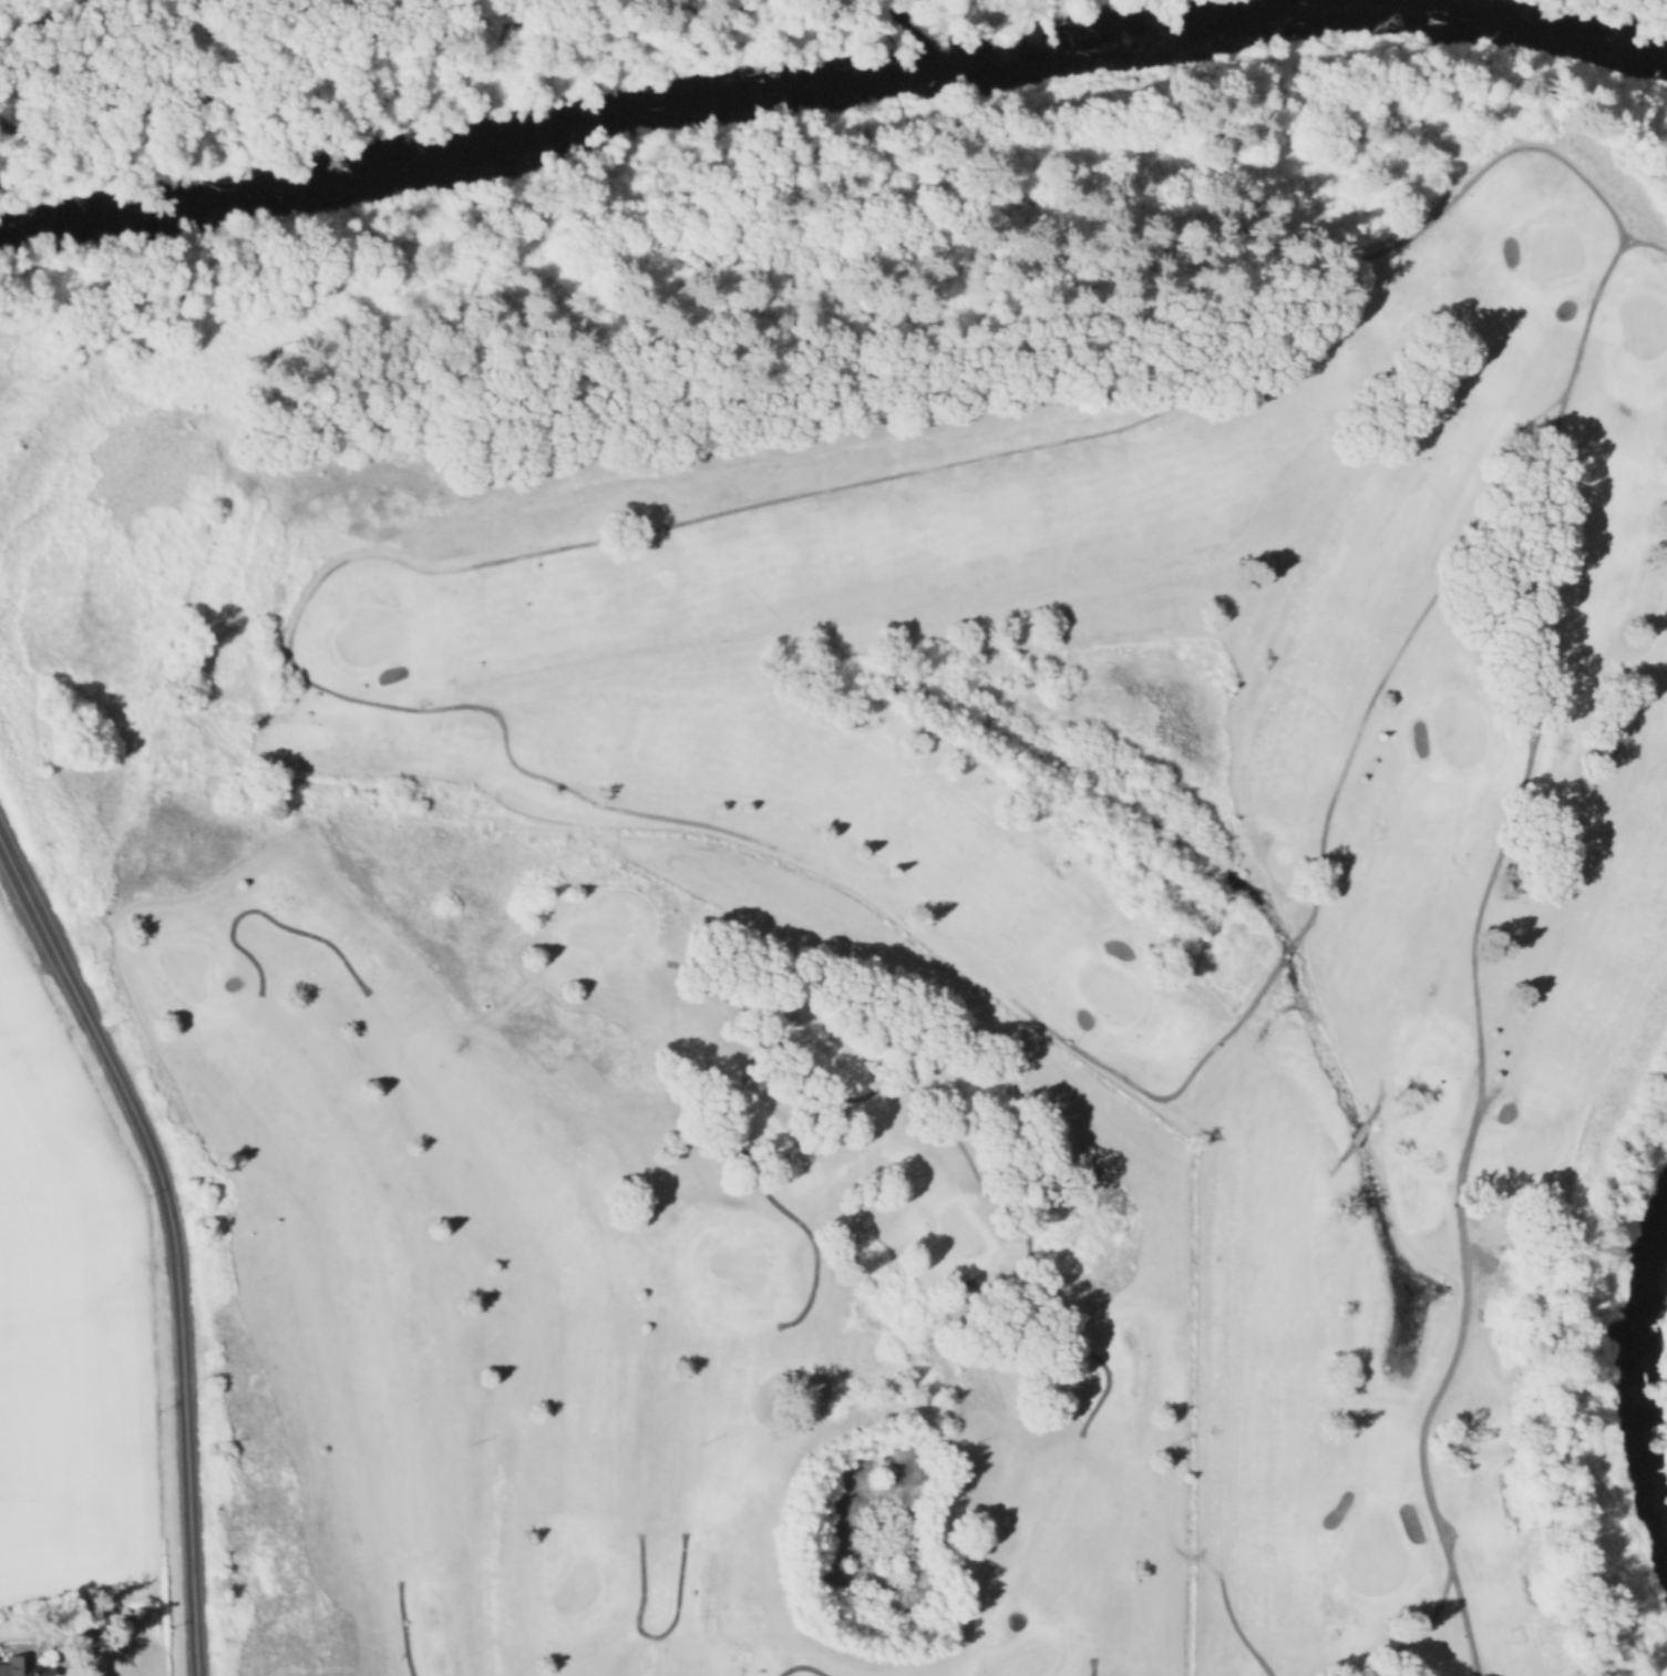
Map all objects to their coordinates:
road: (1097, 1)
road: (682, 9)
road: (41, 20)
river: (1467, 22)
road: (189, 43)
park: (356, 68)
road: (299, 73)
river: (625, 115)
road: (1626, 237)
park: (1642, 323)
road: (1461, 565)
road: (413, 568)
park: (367, 635)
park: (1455, 730)
road: (1492, 738)
park: (885, 868)
road: (266, 916)
road: (1285, 948)
road: (1409, 977)
park: (1108, 990)
road: (1377, 1099)
road: (1357, 1131)
crop: (55, 1153)
road: (1339, 1155)
road: (172, 1240)
road: (1463, 1286)
road: (480, 1293)
river: (1646, 1394)
crop: (76, 1423)
park: (1371, 1553)
road: (1093, 1577)
road: (1223, 1602)
road: (1424, 1622)
road: (402, 1627)
road: (651, 1635)
road: (799, 1664)
road: (1090, 1666)
building: (31, 1667)
road: (569, 1675)

